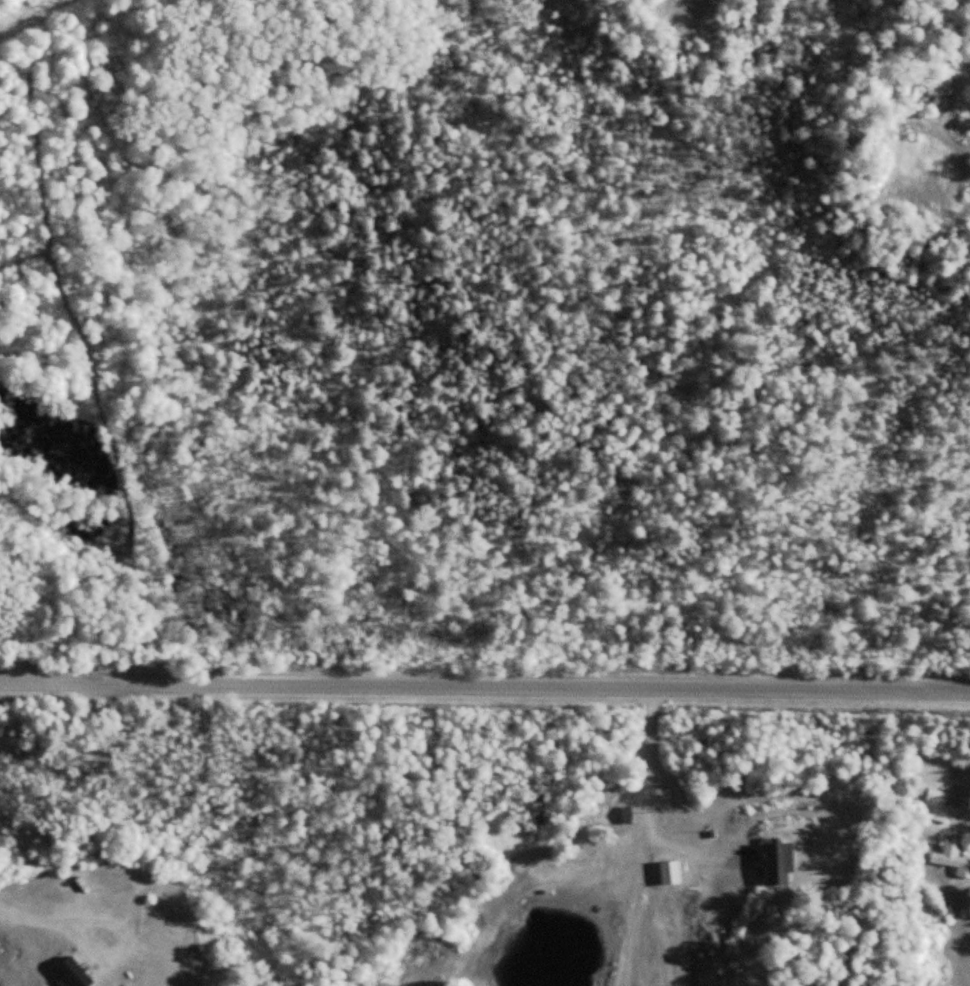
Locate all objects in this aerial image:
road: (485, 680)
building: (610, 787)
building: (934, 805)
building: (951, 858)
building: (778, 863)

